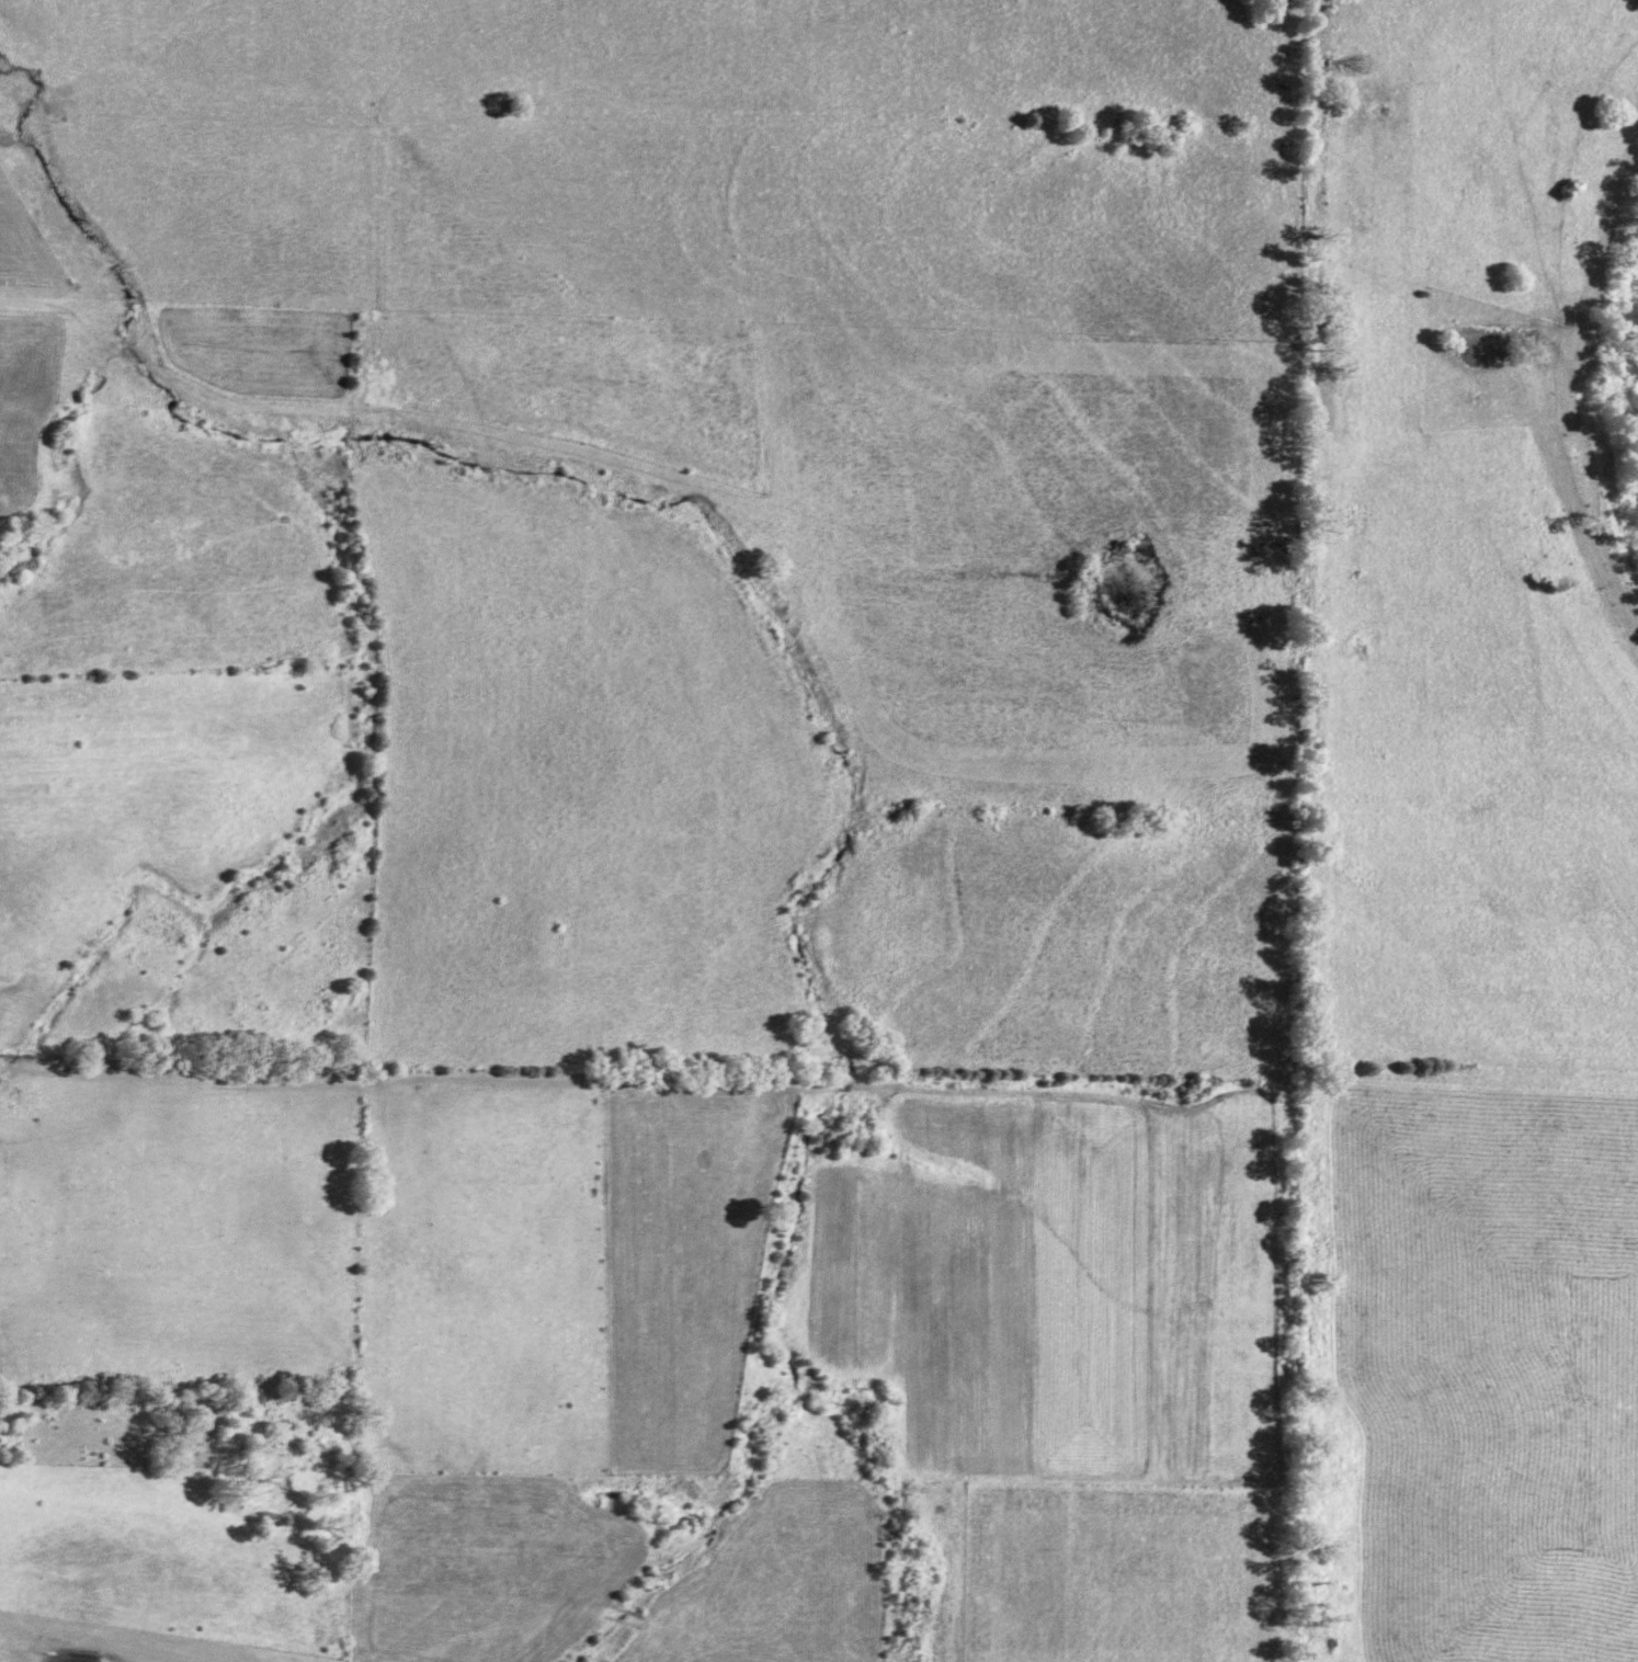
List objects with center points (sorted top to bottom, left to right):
road: (1589, 485)

